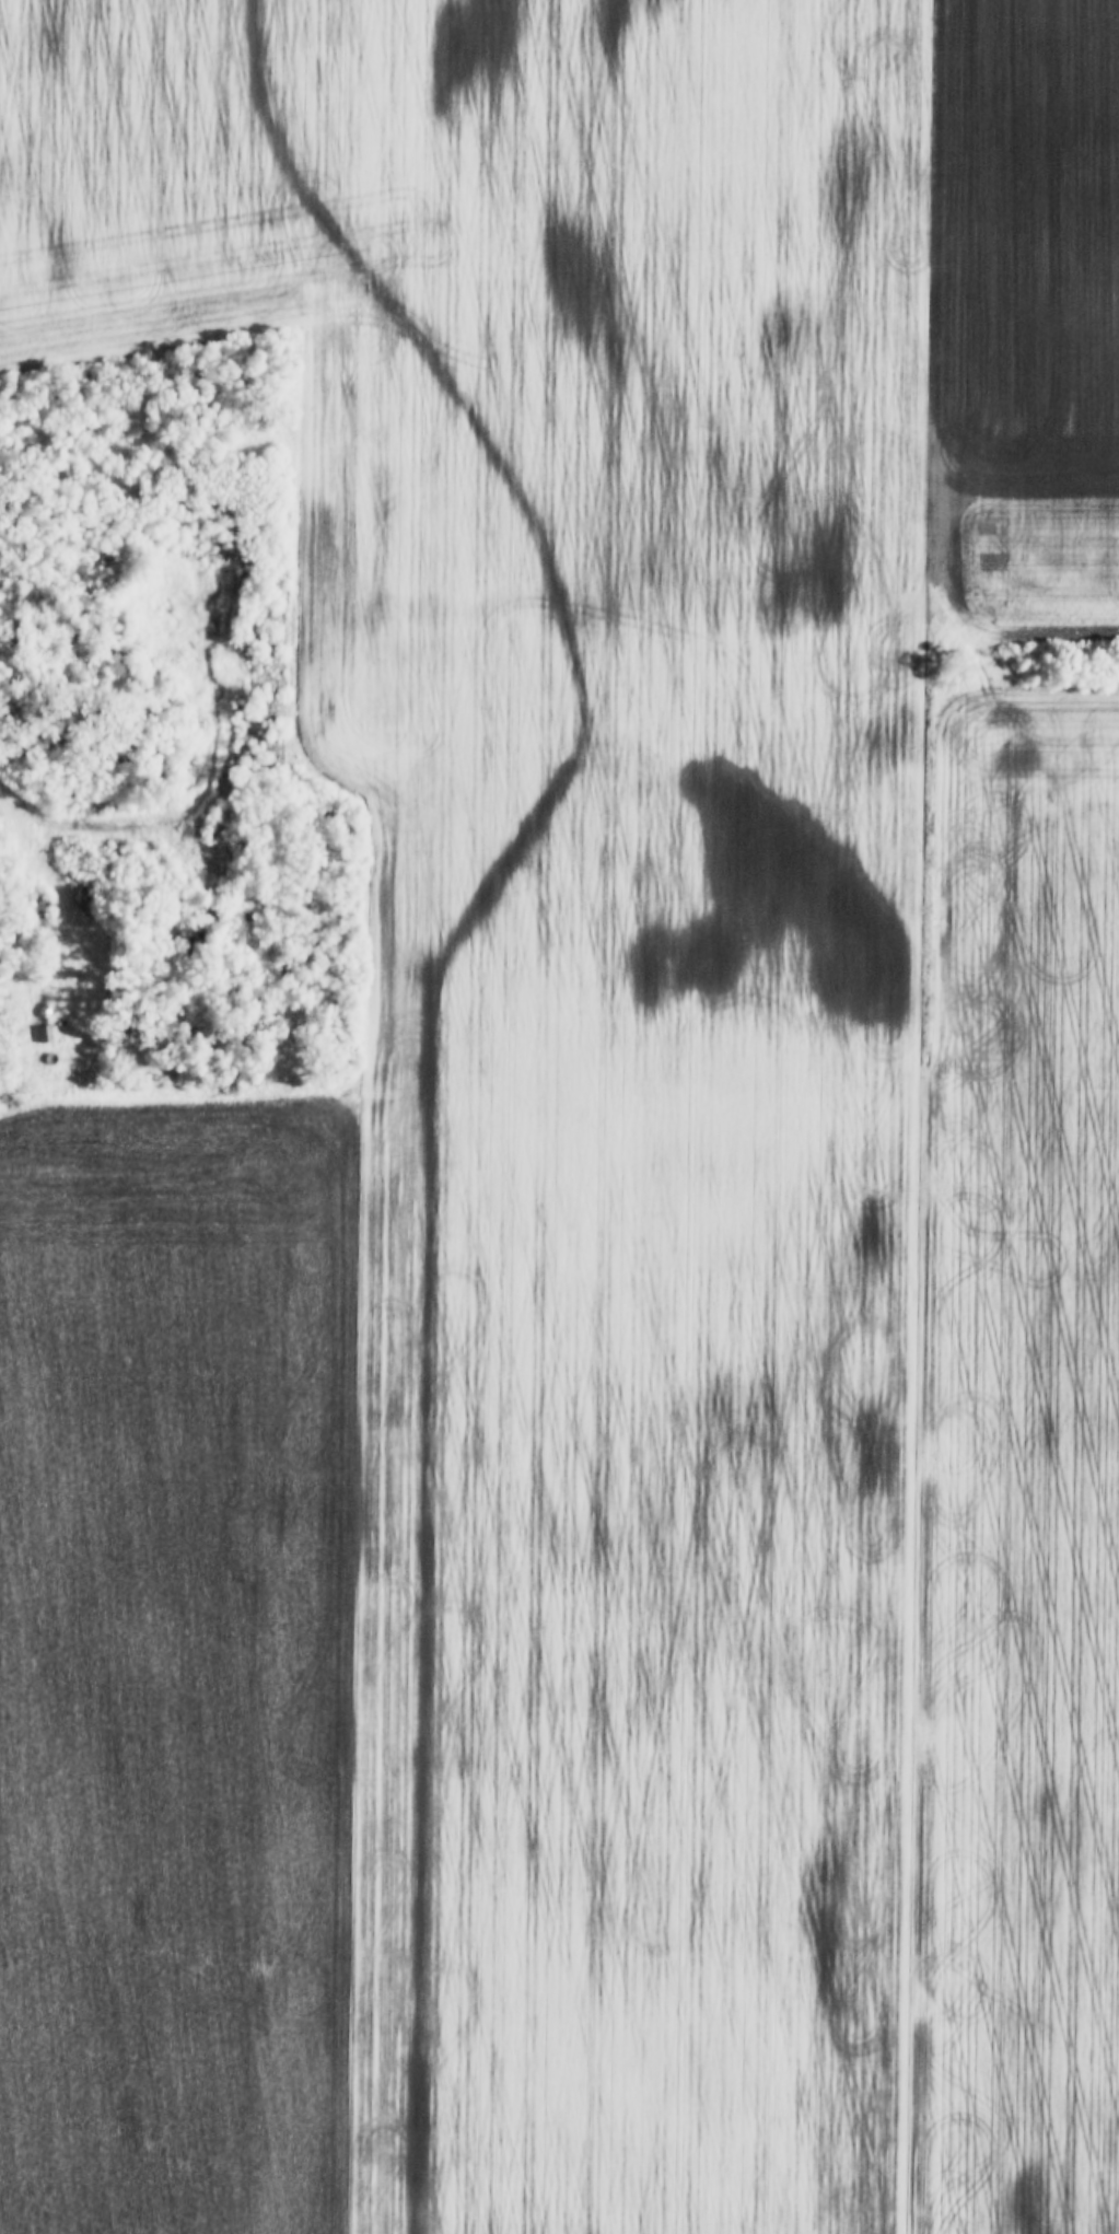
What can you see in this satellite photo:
road: (75, 823)

